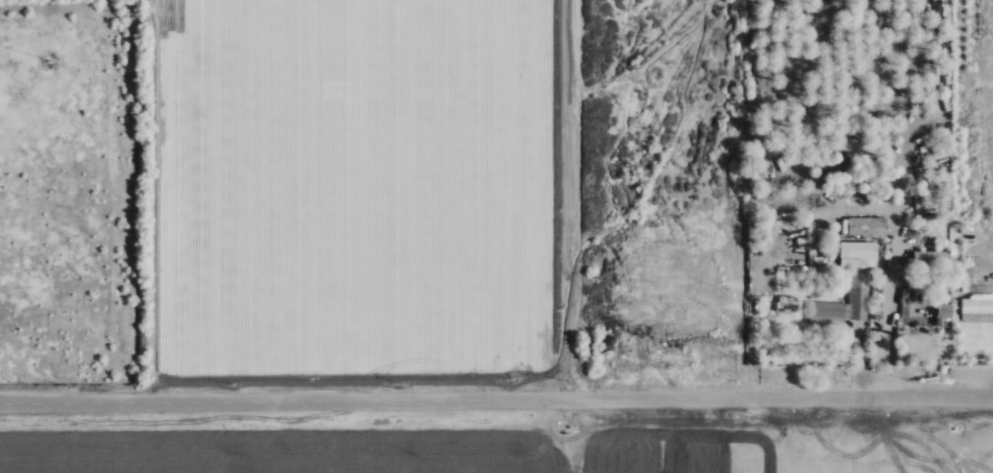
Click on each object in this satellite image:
crop: (364, 194)
building: (928, 221)
building: (866, 226)
building: (892, 233)
building: (858, 250)
building: (926, 258)
building: (786, 304)
building: (842, 305)
building: (928, 307)
building: (976, 309)
building: (941, 314)
building: (923, 327)
road: (496, 400)

